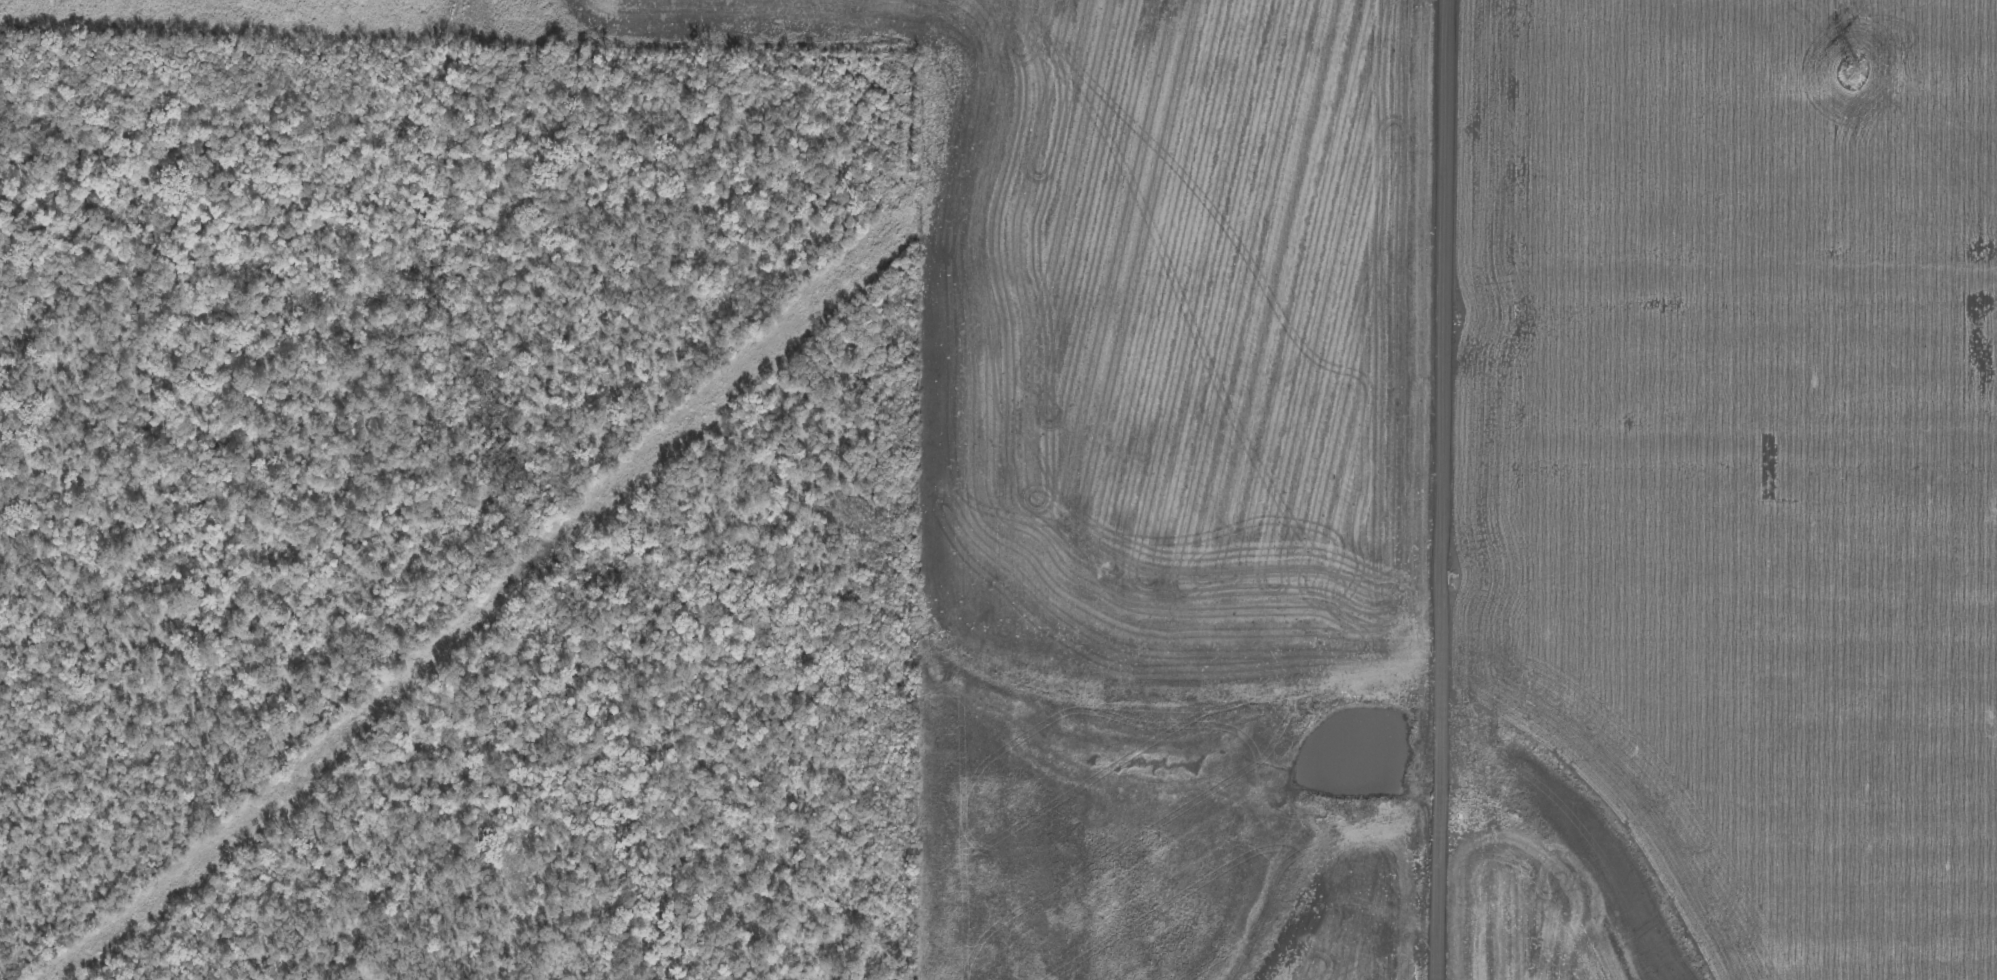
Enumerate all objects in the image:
power tower: (1857, 70)

